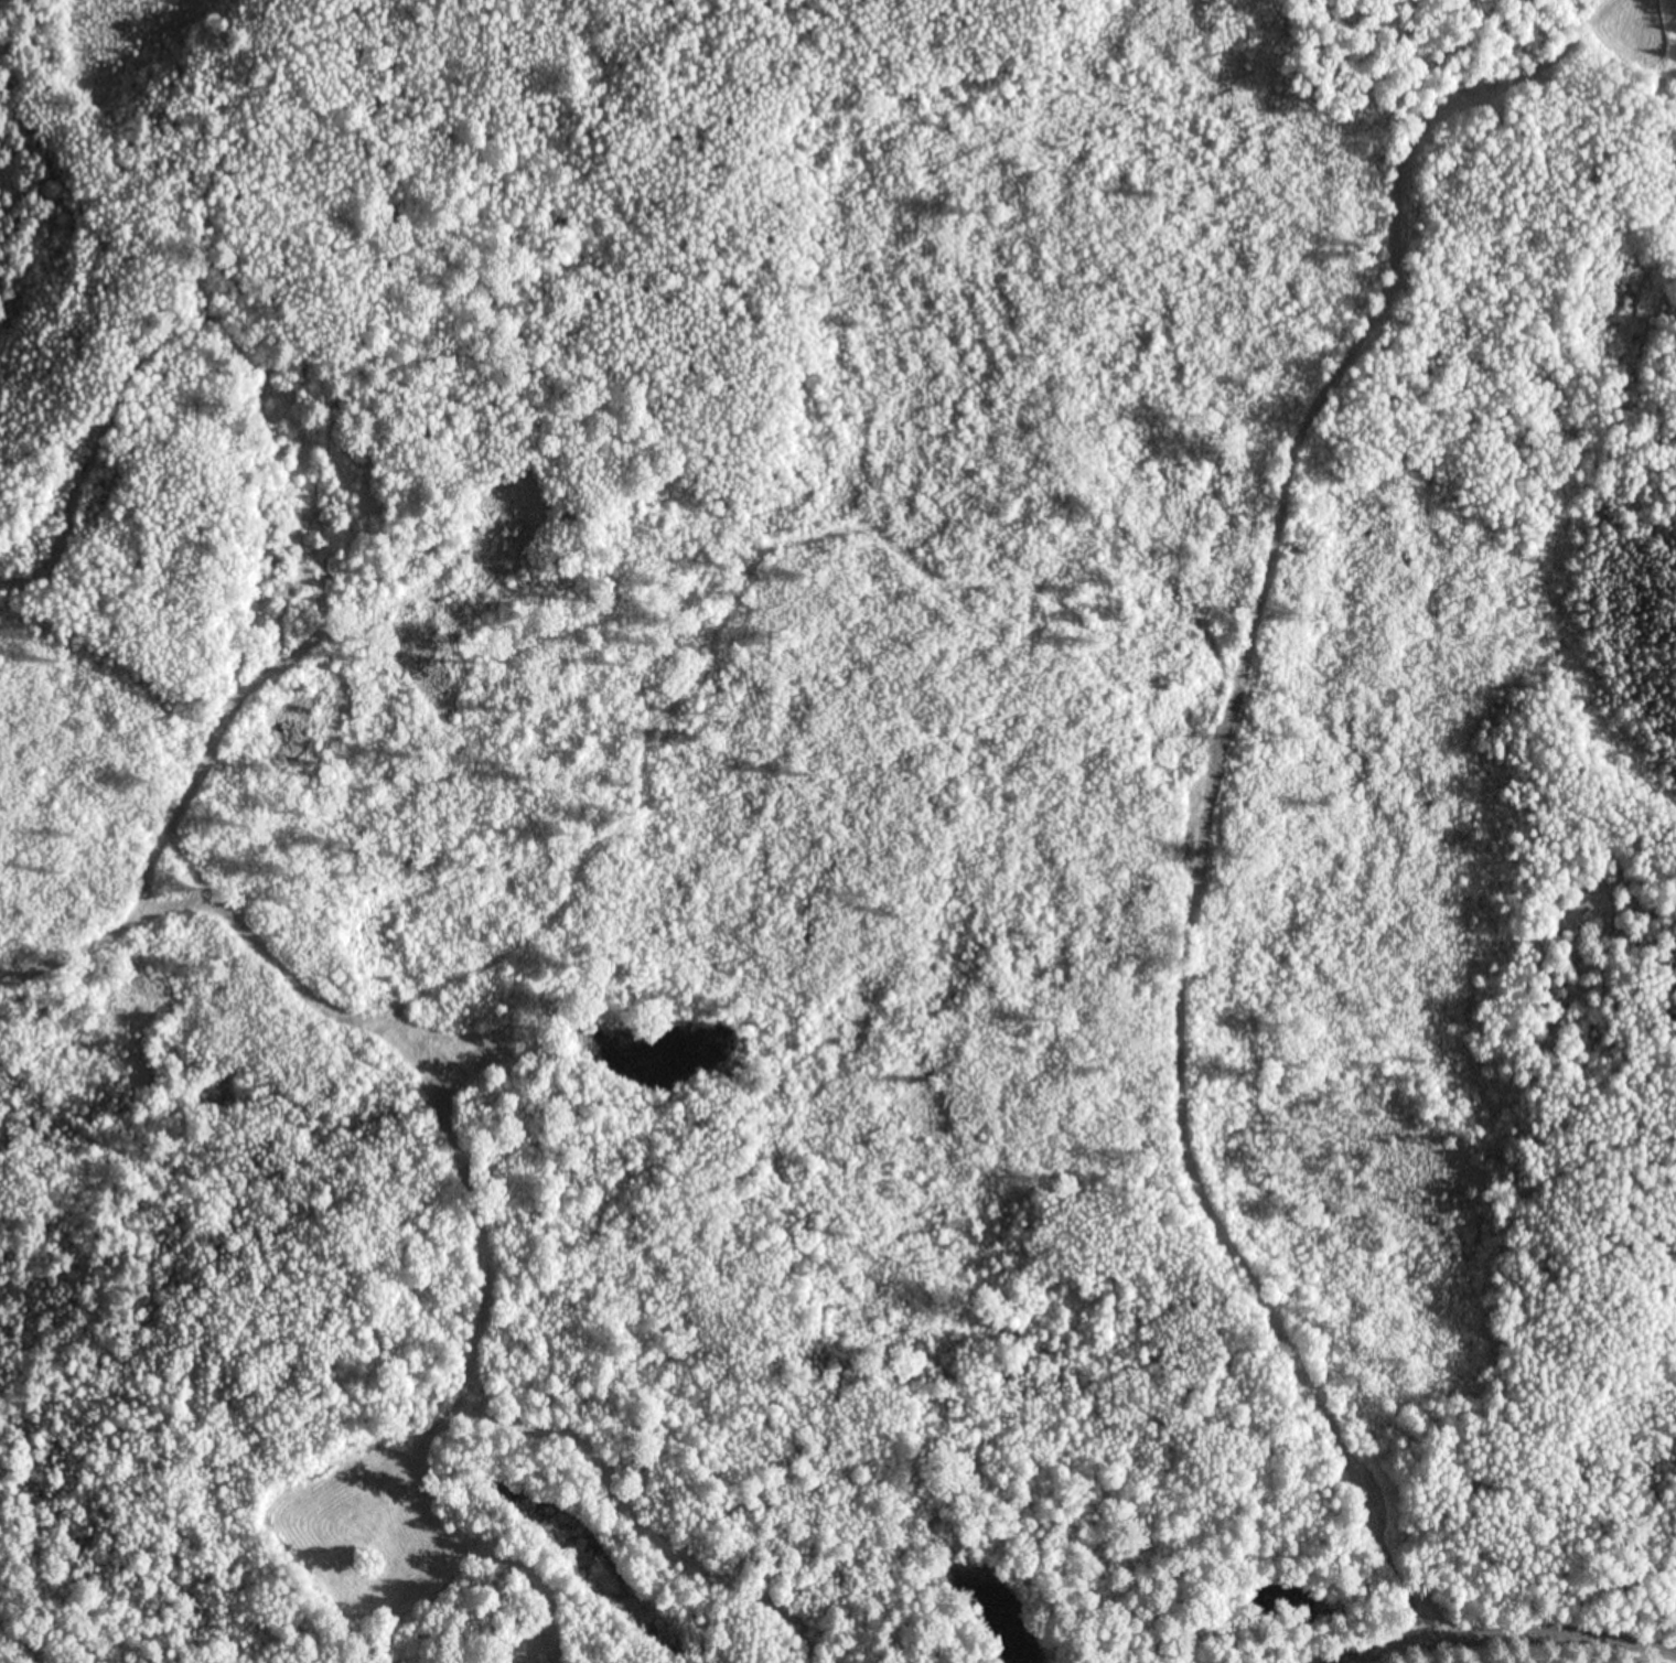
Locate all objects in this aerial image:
road: (1508, 1631)

